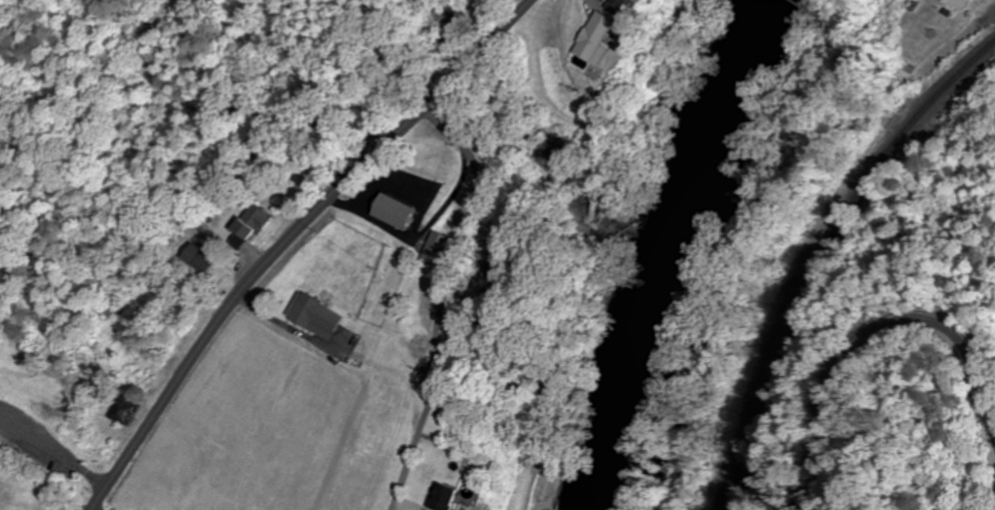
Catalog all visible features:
building: (955, 4)
building: (618, 6)
road: (504, 32)
building: (594, 39)
building: (404, 212)
building: (260, 219)
building: (434, 250)
river: (660, 250)
railway: (822, 254)
building: (207, 259)
road: (262, 270)
building: (323, 315)
road: (869, 330)
building: (129, 410)
building: (439, 497)

